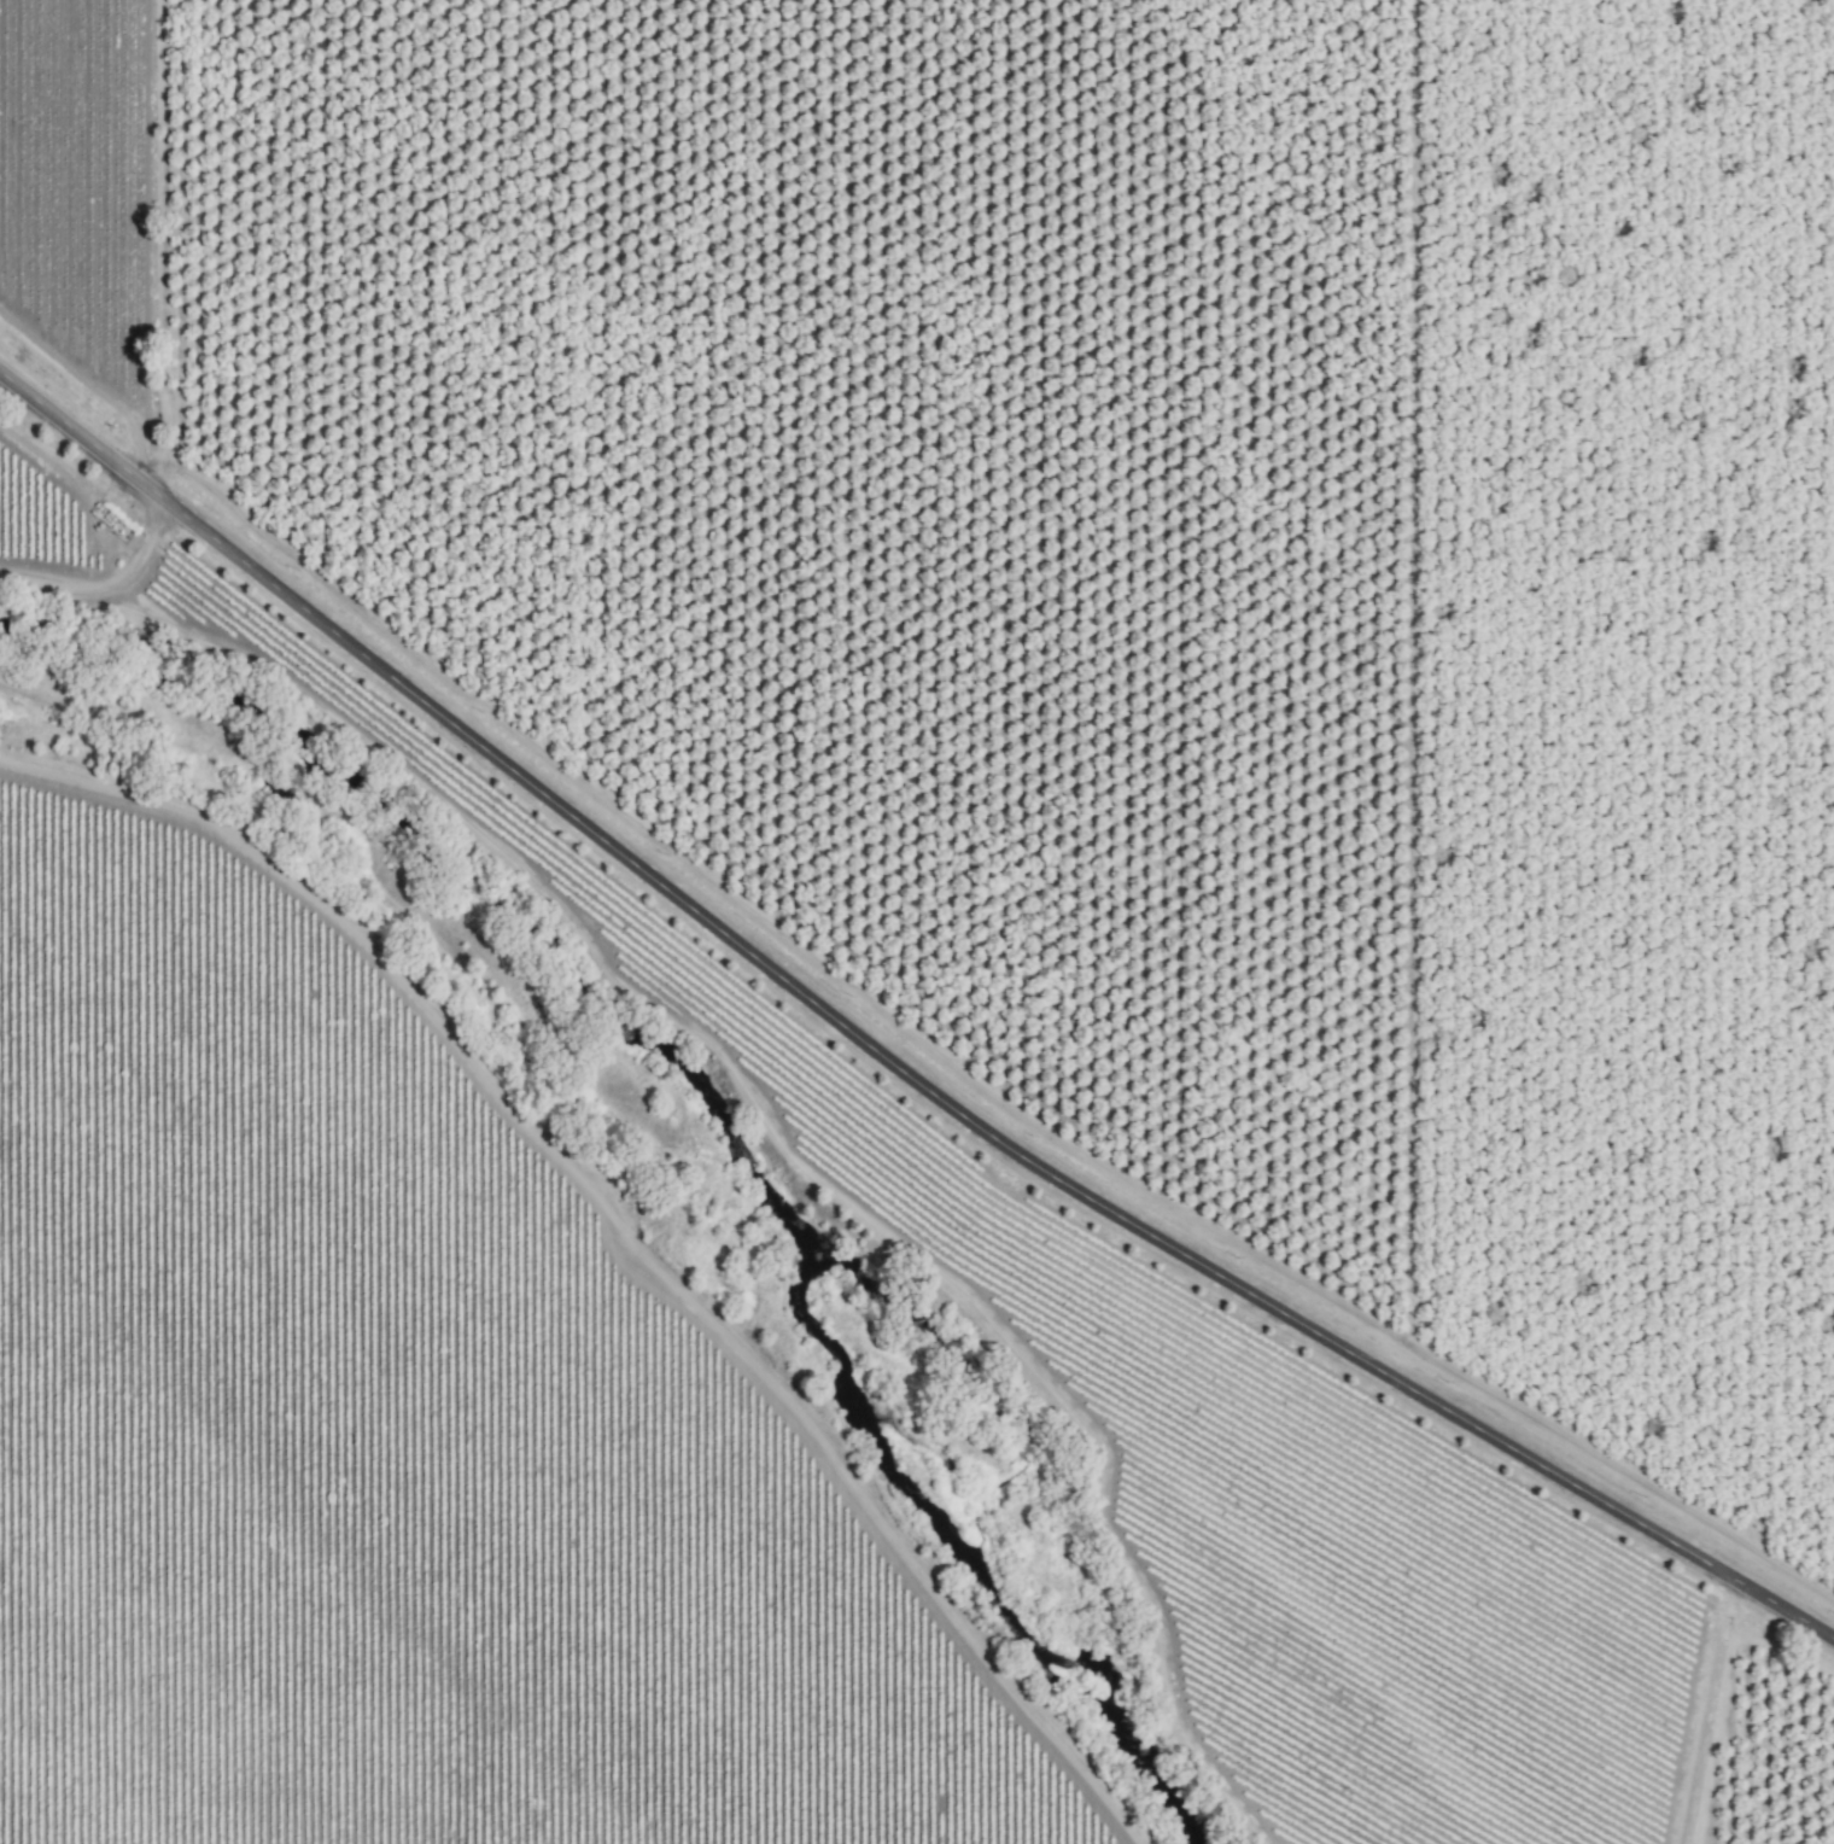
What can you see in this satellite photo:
road: (106, 590)
road: (881, 1058)

